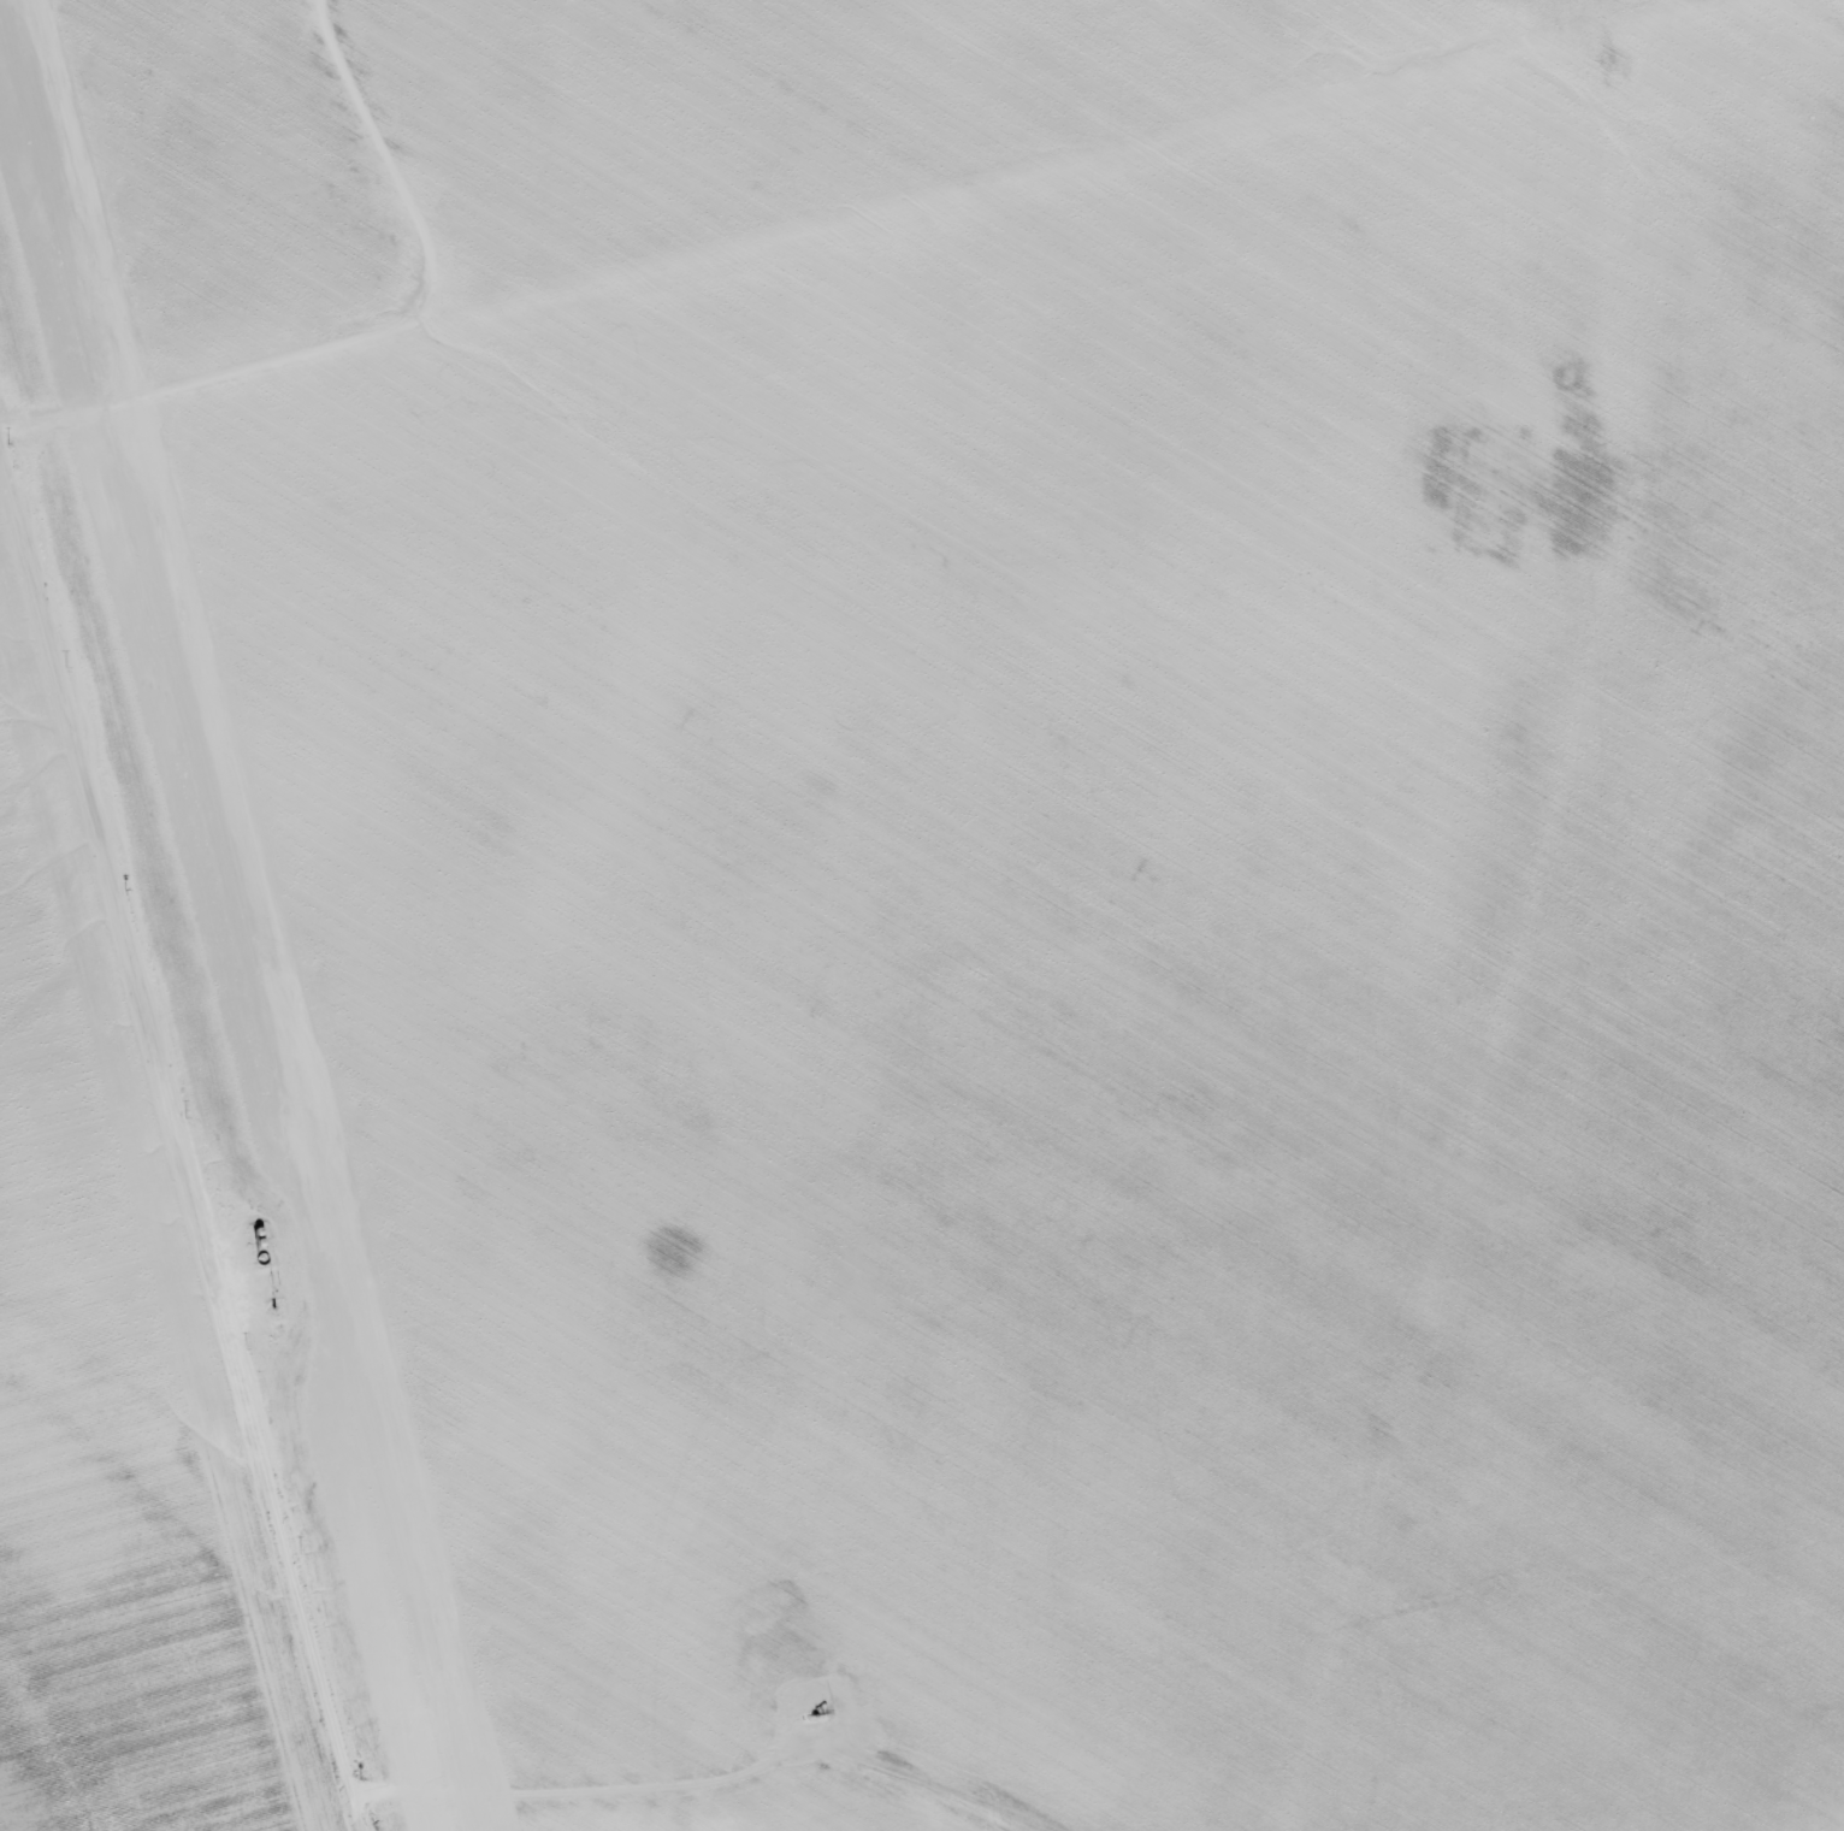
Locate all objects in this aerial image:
road: (935, 252)
road: (190, 1133)

